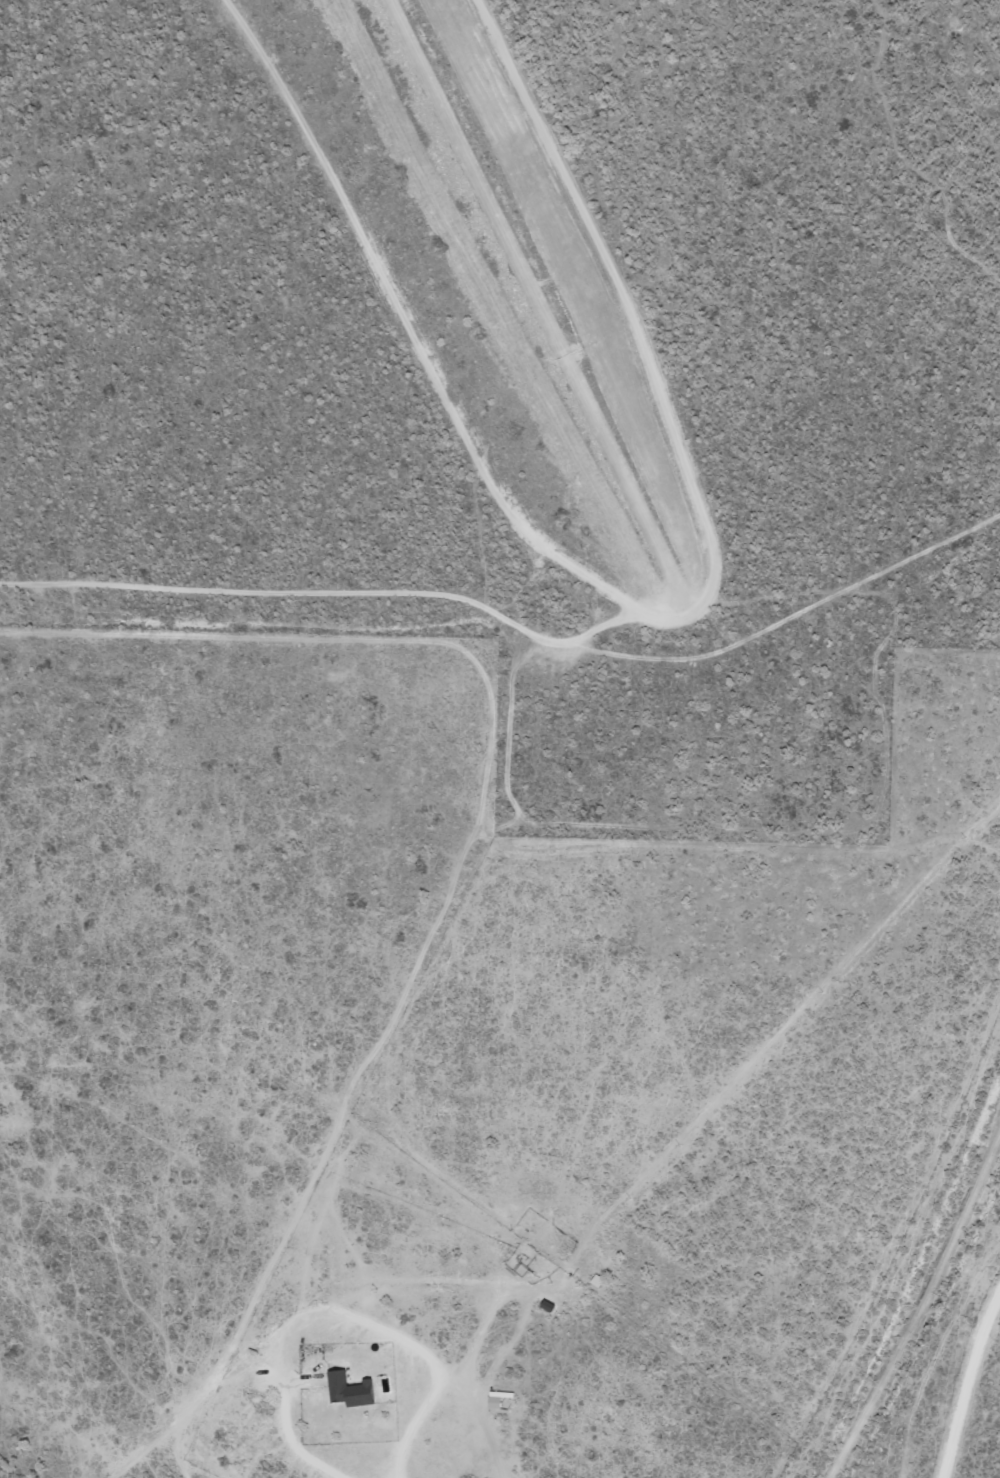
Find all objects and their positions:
dam: (503, 245)
road: (540, 306)
road: (407, 327)
road: (643, 358)
road: (515, 626)
road: (484, 764)
road: (917, 1300)
road: (308, 1308)
railway: (931, 1330)
road: (966, 1382)
building: (352, 1390)
building: (498, 1400)

